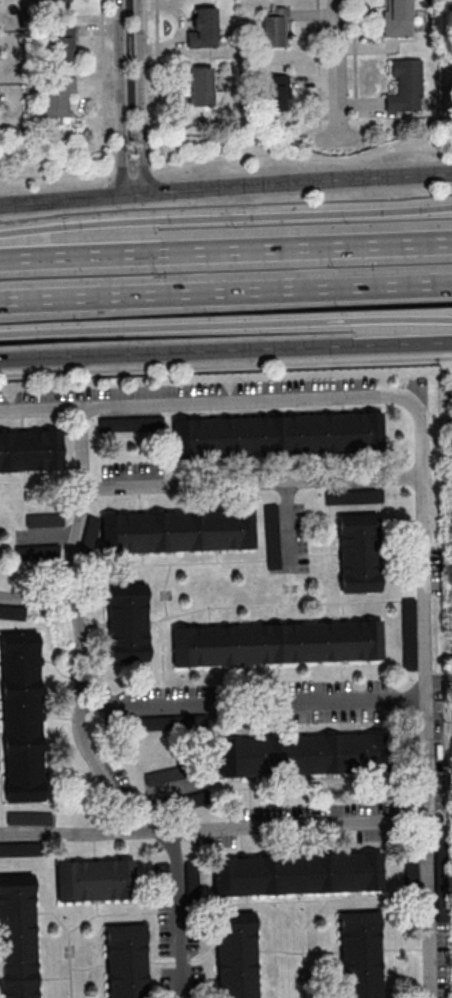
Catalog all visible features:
building: (57, 1)
building: (402, 19)
building: (275, 26)
building: (204, 28)
building: (63, 43)
road: (340, 72)
building: (202, 86)
building: (406, 86)
building: (276, 92)
road: (122, 96)
road: (142, 96)
building: (59, 97)
road: (225, 154)
road: (225, 186)
road: (225, 217)
road: (225, 249)
road: (225, 292)
road: (225, 324)
road: (303, 347)
road: (77, 355)
road: (225, 364)
road: (208, 405)
building: (130, 423)
building: (283, 434)
building: (30, 451)
road: (254, 484)
building: (44, 519)
building: (181, 530)
building: (37, 551)
building: (360, 552)
road: (35, 595)
building: (11, 610)
building: (127, 622)
road: (79, 624)
building: (411, 633)
building: (278, 643)
road: (252, 698)
road: (426, 702)
building: (21, 716)
building: (153, 722)
building: (303, 754)
building: (167, 773)
building: (28, 817)
road: (274, 827)
road: (60, 833)
building: (412, 868)
building: (298, 873)
building: (193, 879)
building: (95, 880)
road: (179, 915)
building: (18, 936)
building: (236, 954)
building: (362, 954)
building: (127, 960)

